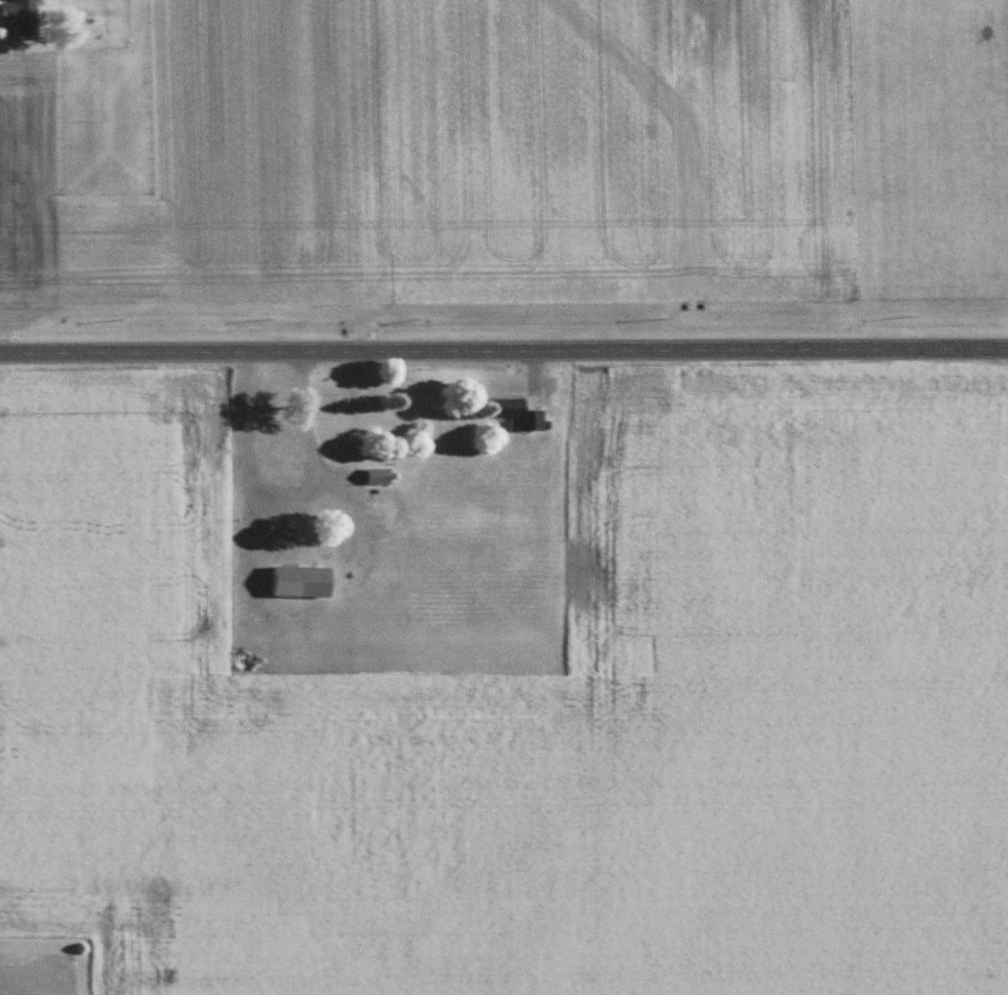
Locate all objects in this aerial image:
building: (23, 16)
road: (503, 350)
building: (517, 414)
road: (305, 437)
building: (379, 477)
building: (302, 582)

